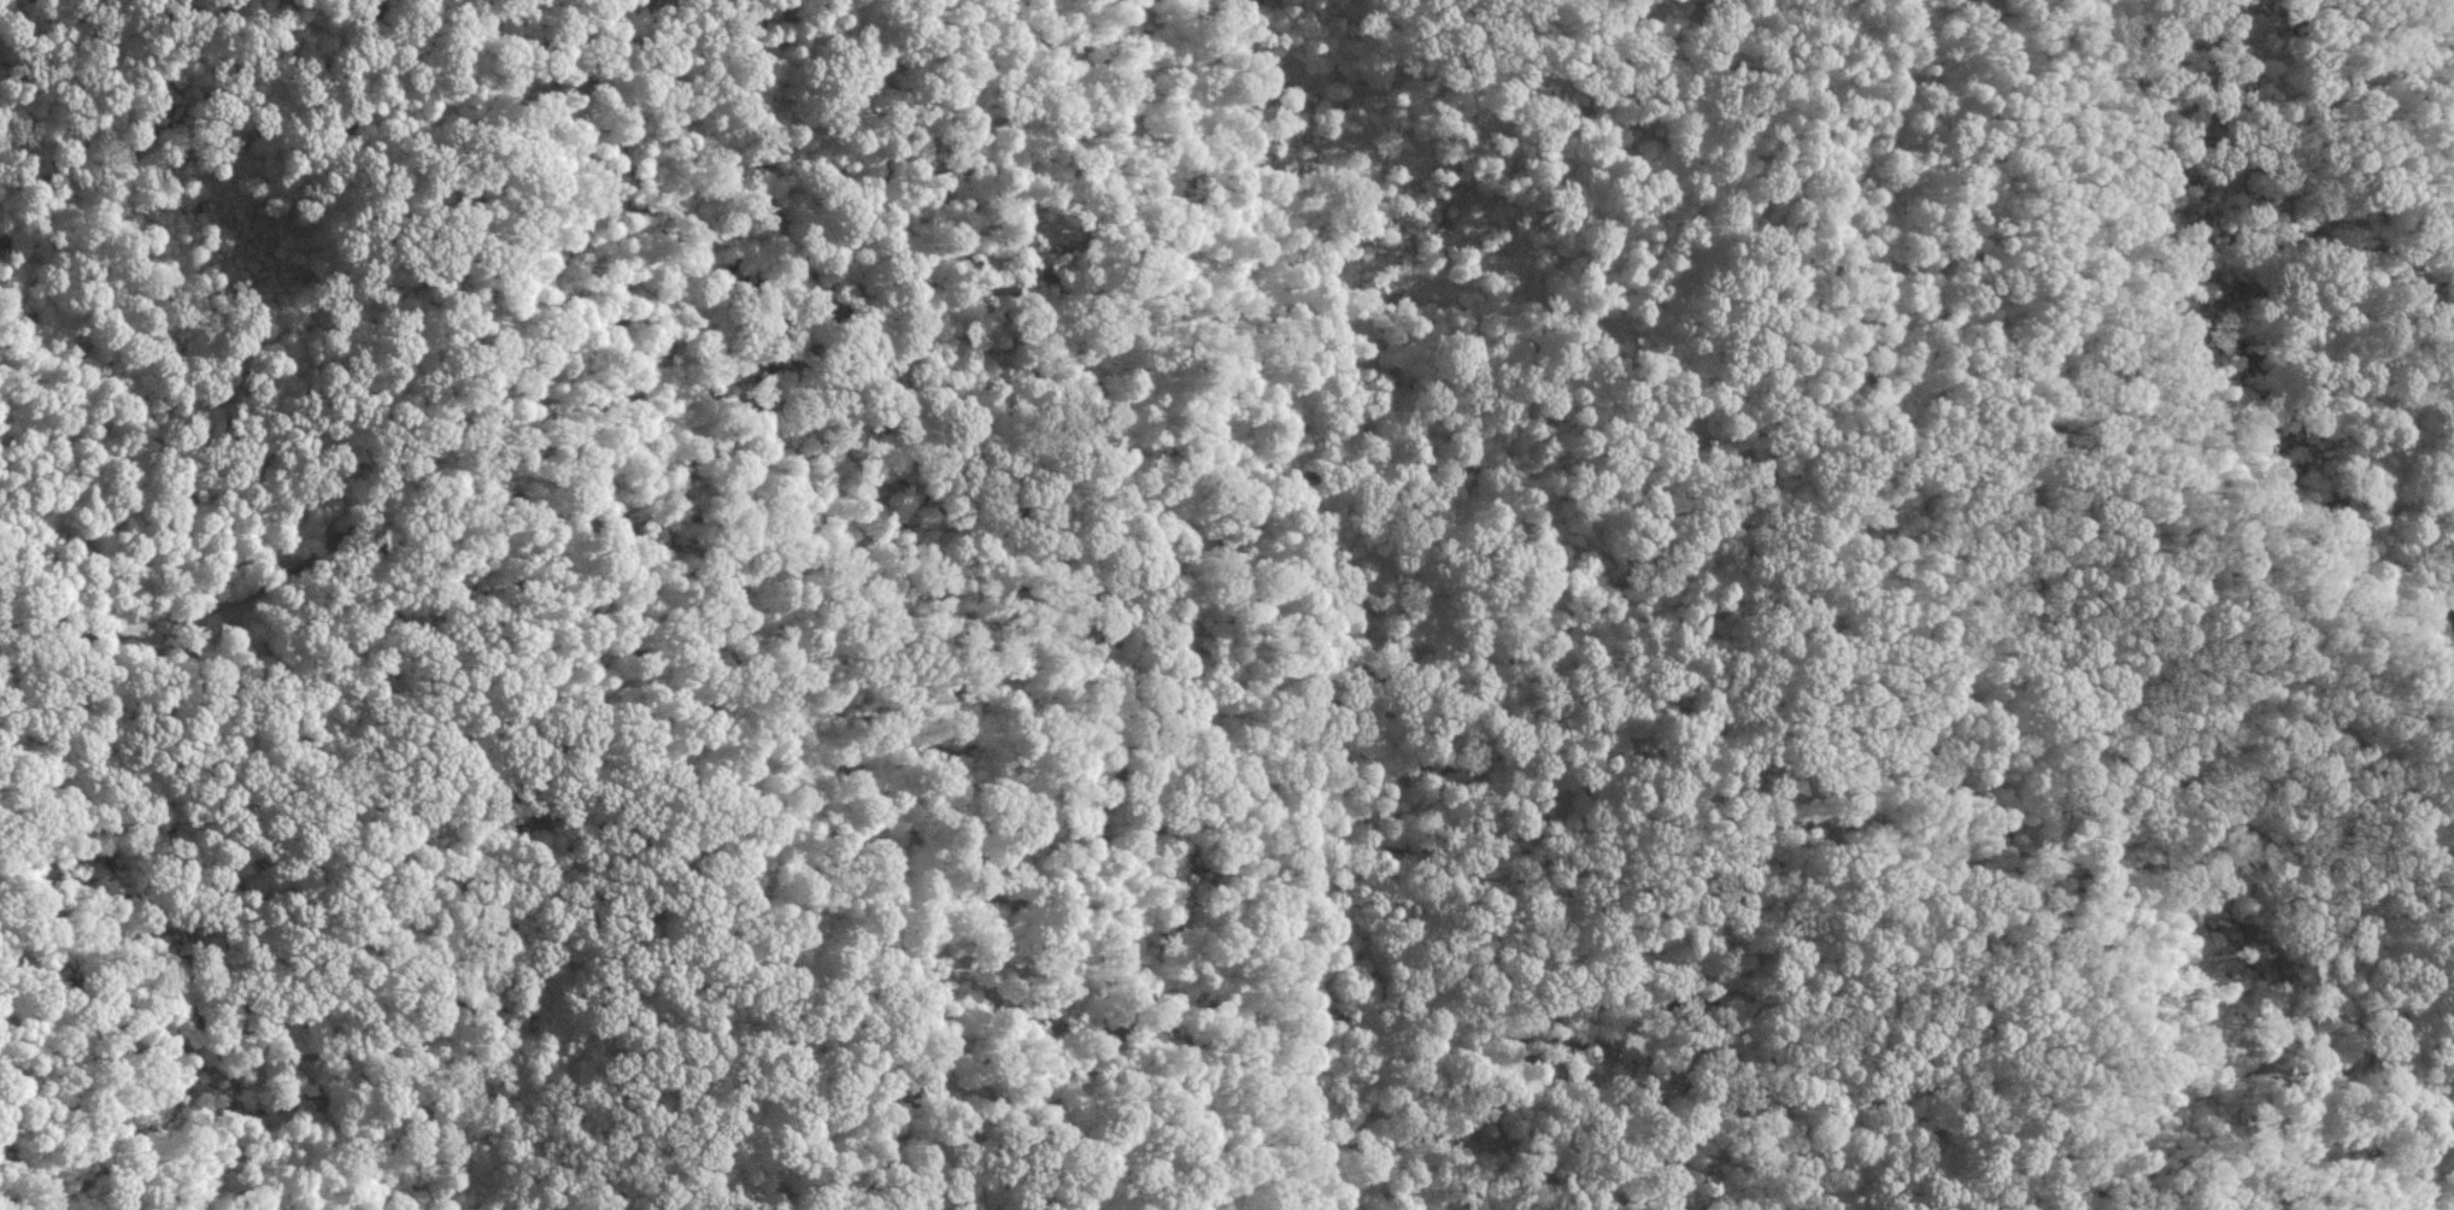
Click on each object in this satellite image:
road: (1914, 683)

